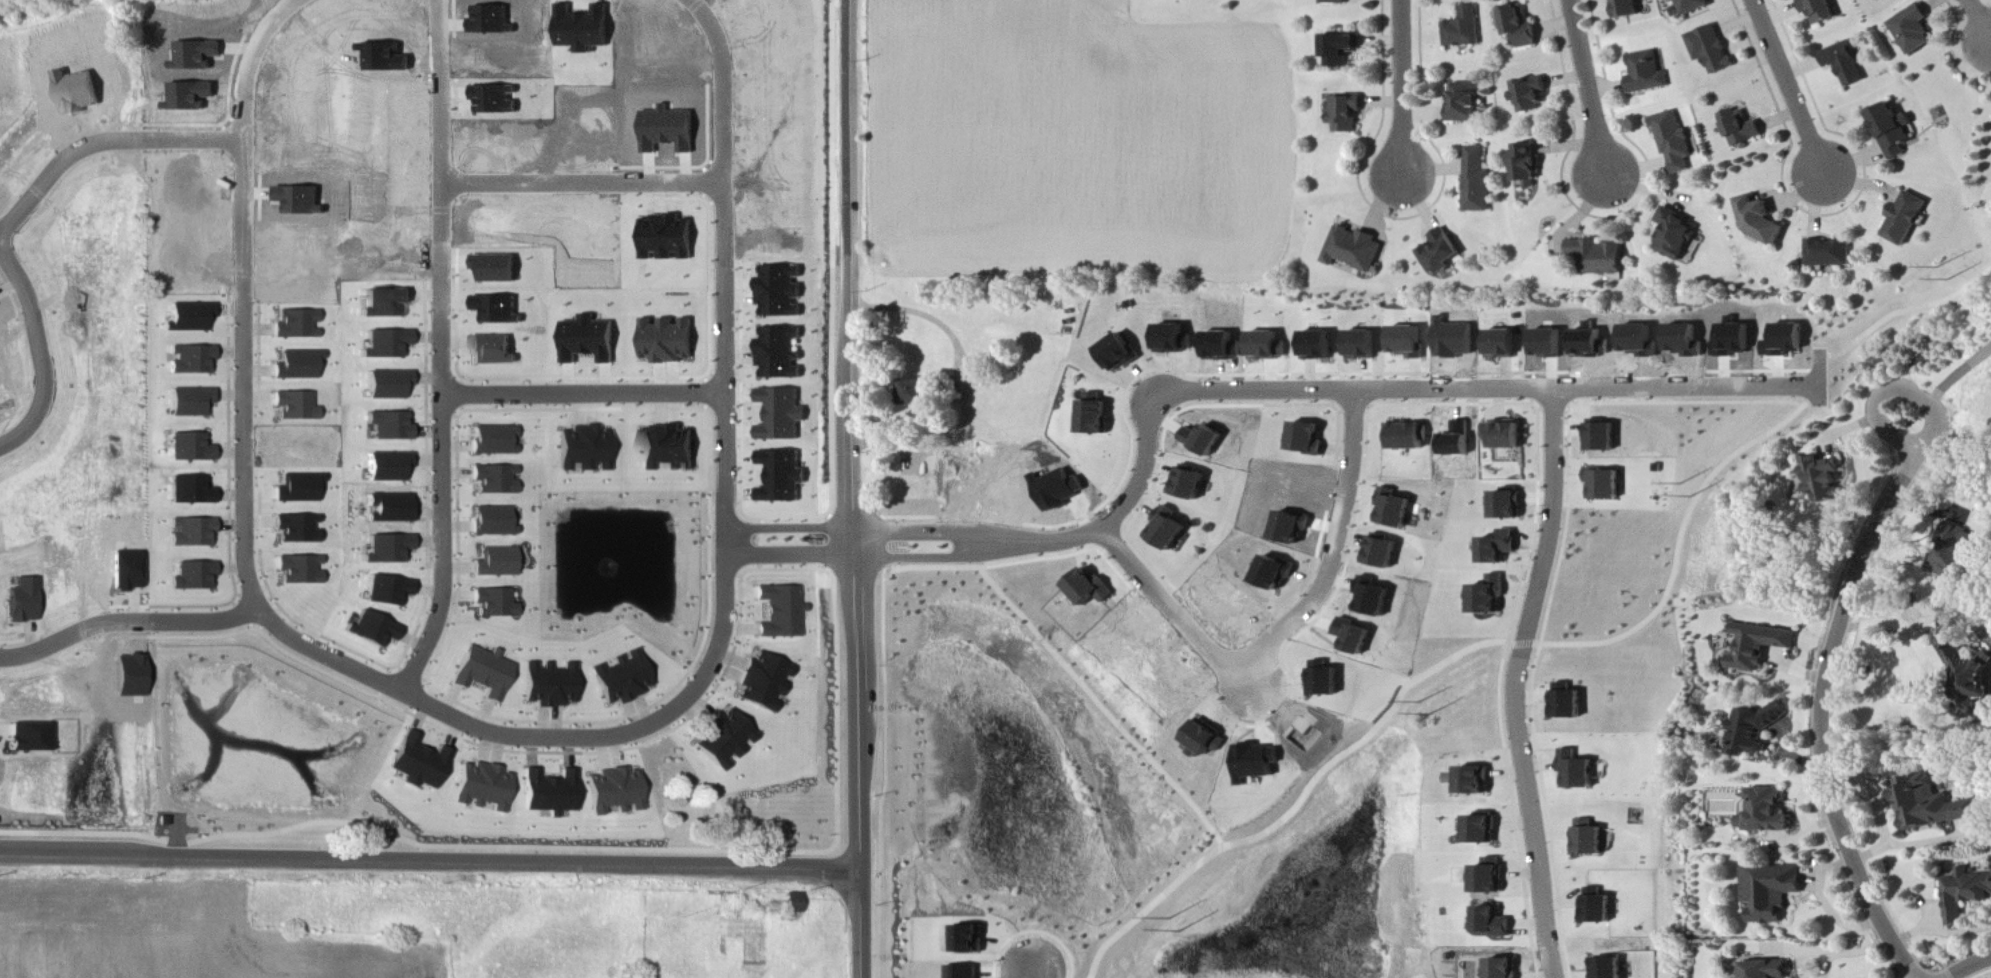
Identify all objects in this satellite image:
building: (1878, 0)
building: (1334, 2)
building: (1693, 6)
building: (1627, 9)
building: (1819, 10)
road: (1978, 18)
building: (1516, 26)
building: (1463, 29)
building: (1913, 30)
building: (1711, 49)
building: (1845, 64)
building: (1647, 73)
road: (1587, 88)
road: (1788, 88)
road: (1401, 89)
building: (1530, 94)
building: (1462, 104)
building: (1345, 114)
building: (1743, 128)
building: (1894, 130)
building: (1674, 141)
road: (104, 142)
building: (1527, 166)
building: (1478, 181)
road: (585, 184)
road: (727, 190)
building: (1907, 219)
building: (1762, 221)
building: (1675, 235)
building: (1355, 250)
building: (1441, 252)
building: (1831, 253)
building: (1598, 257)
power tower: (1940, 268)
building: (495, 269)
power tower: (1951, 280)
road: (244, 297)
building: (496, 310)
building: (587, 339)
building: (1174, 339)
building: (666, 340)
building: (1786, 341)
building: (1407, 342)
building: (1501, 344)
building: (1265, 346)
building: (1316, 346)
road: (442, 350)
building: (493, 351)
building: (779, 353)
building: (1118, 353)
road: (40, 354)
building: (191, 360)
road: (1957, 374)
road: (968, 385)
road: (1892, 387)
building: (917, 391)
road: (1387, 391)
road: (584, 394)
building: (190, 402)
building: (296, 406)
building: (780, 415)
building: (1095, 415)
building: (389, 427)
road: (1844, 430)
building: (1505, 435)
building: (1407, 437)
building: (1306, 439)
building: (494, 440)
building: (1203, 441)
building: (189, 448)
building: (667, 448)
building: (584, 449)
building: (387, 467)
road: (726, 469)
building: (780, 476)
building: (1823, 479)
building: (494, 480)
building: (1189, 484)
building: (1605, 485)
power tower: (1682, 485)
road: (853, 489)
power tower: (1694, 498)
building: (1508, 506)
building: (1394, 509)
building: (492, 521)
building: (299, 529)
road: (788, 529)
building: (1168, 530)
building: (190, 532)
road: (1053, 543)
building: (1499, 548)
building: (1382, 553)
road: (789, 556)
building: (495, 563)
building: (1275, 575)
building: (192, 577)
building: (1091, 588)
building: (386, 590)
building: (1490, 596)
building: (22, 601)
building: (493, 603)
building: (780, 611)
road: (127, 621)
road: (1892, 623)
road: (1286, 627)
building: (370, 630)
building: (1758, 646)
building: (1968, 667)
building: (483, 671)
road: (1254, 675)
building: (622, 678)
building: (1327, 680)
building: (763, 682)
building: (549, 684)
road: (1517, 684)
power tower: (1424, 703)
building: (1567, 703)
power tower: (1435, 715)
road: (1822, 715)
building: (1754, 729)
building: (30, 737)
road: (543, 737)
building: (724, 739)
building: (1206, 739)
building: (417, 763)
building: (1576, 772)
building: (1475, 782)
building: (481, 787)
building: (612, 791)
building: (547, 793)
building: (1931, 804)
building: (1766, 813)
building: (1483, 831)
building: (1587, 839)
road: (427, 865)
building: (1492, 878)
road: (1813, 878)
building: (1771, 892)
building: (1965, 894)
road: (1826, 902)
building: (791, 903)
building: (1598, 908)
power tower: (1167, 920)
building: (1496, 923)
power tower: (1179, 932)
road: (1827, 953)
road: (1815, 960)
road: (1969, 966)
building: (1609, 968)
building: (1506, 969)
building: (1767, 970)
road: (1033, 976)

